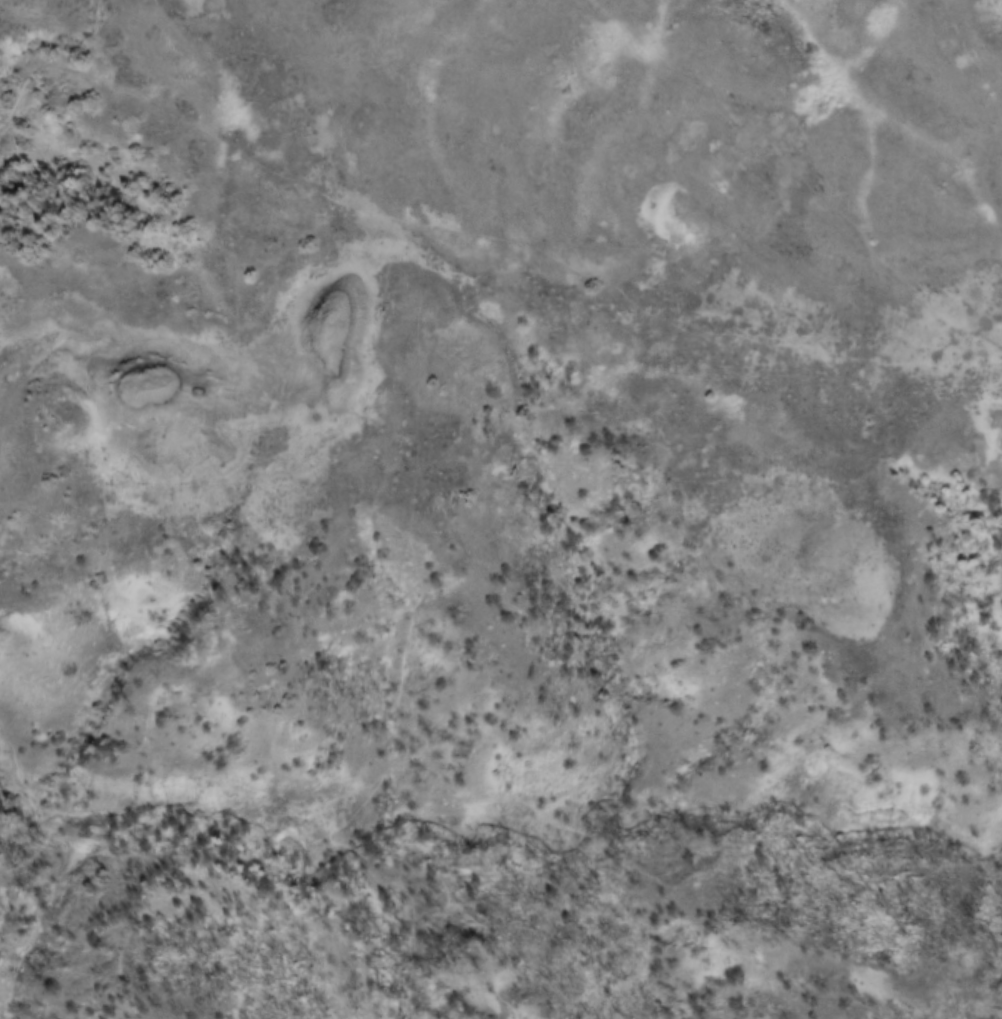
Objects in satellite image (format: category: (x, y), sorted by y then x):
road: (801, 159)

